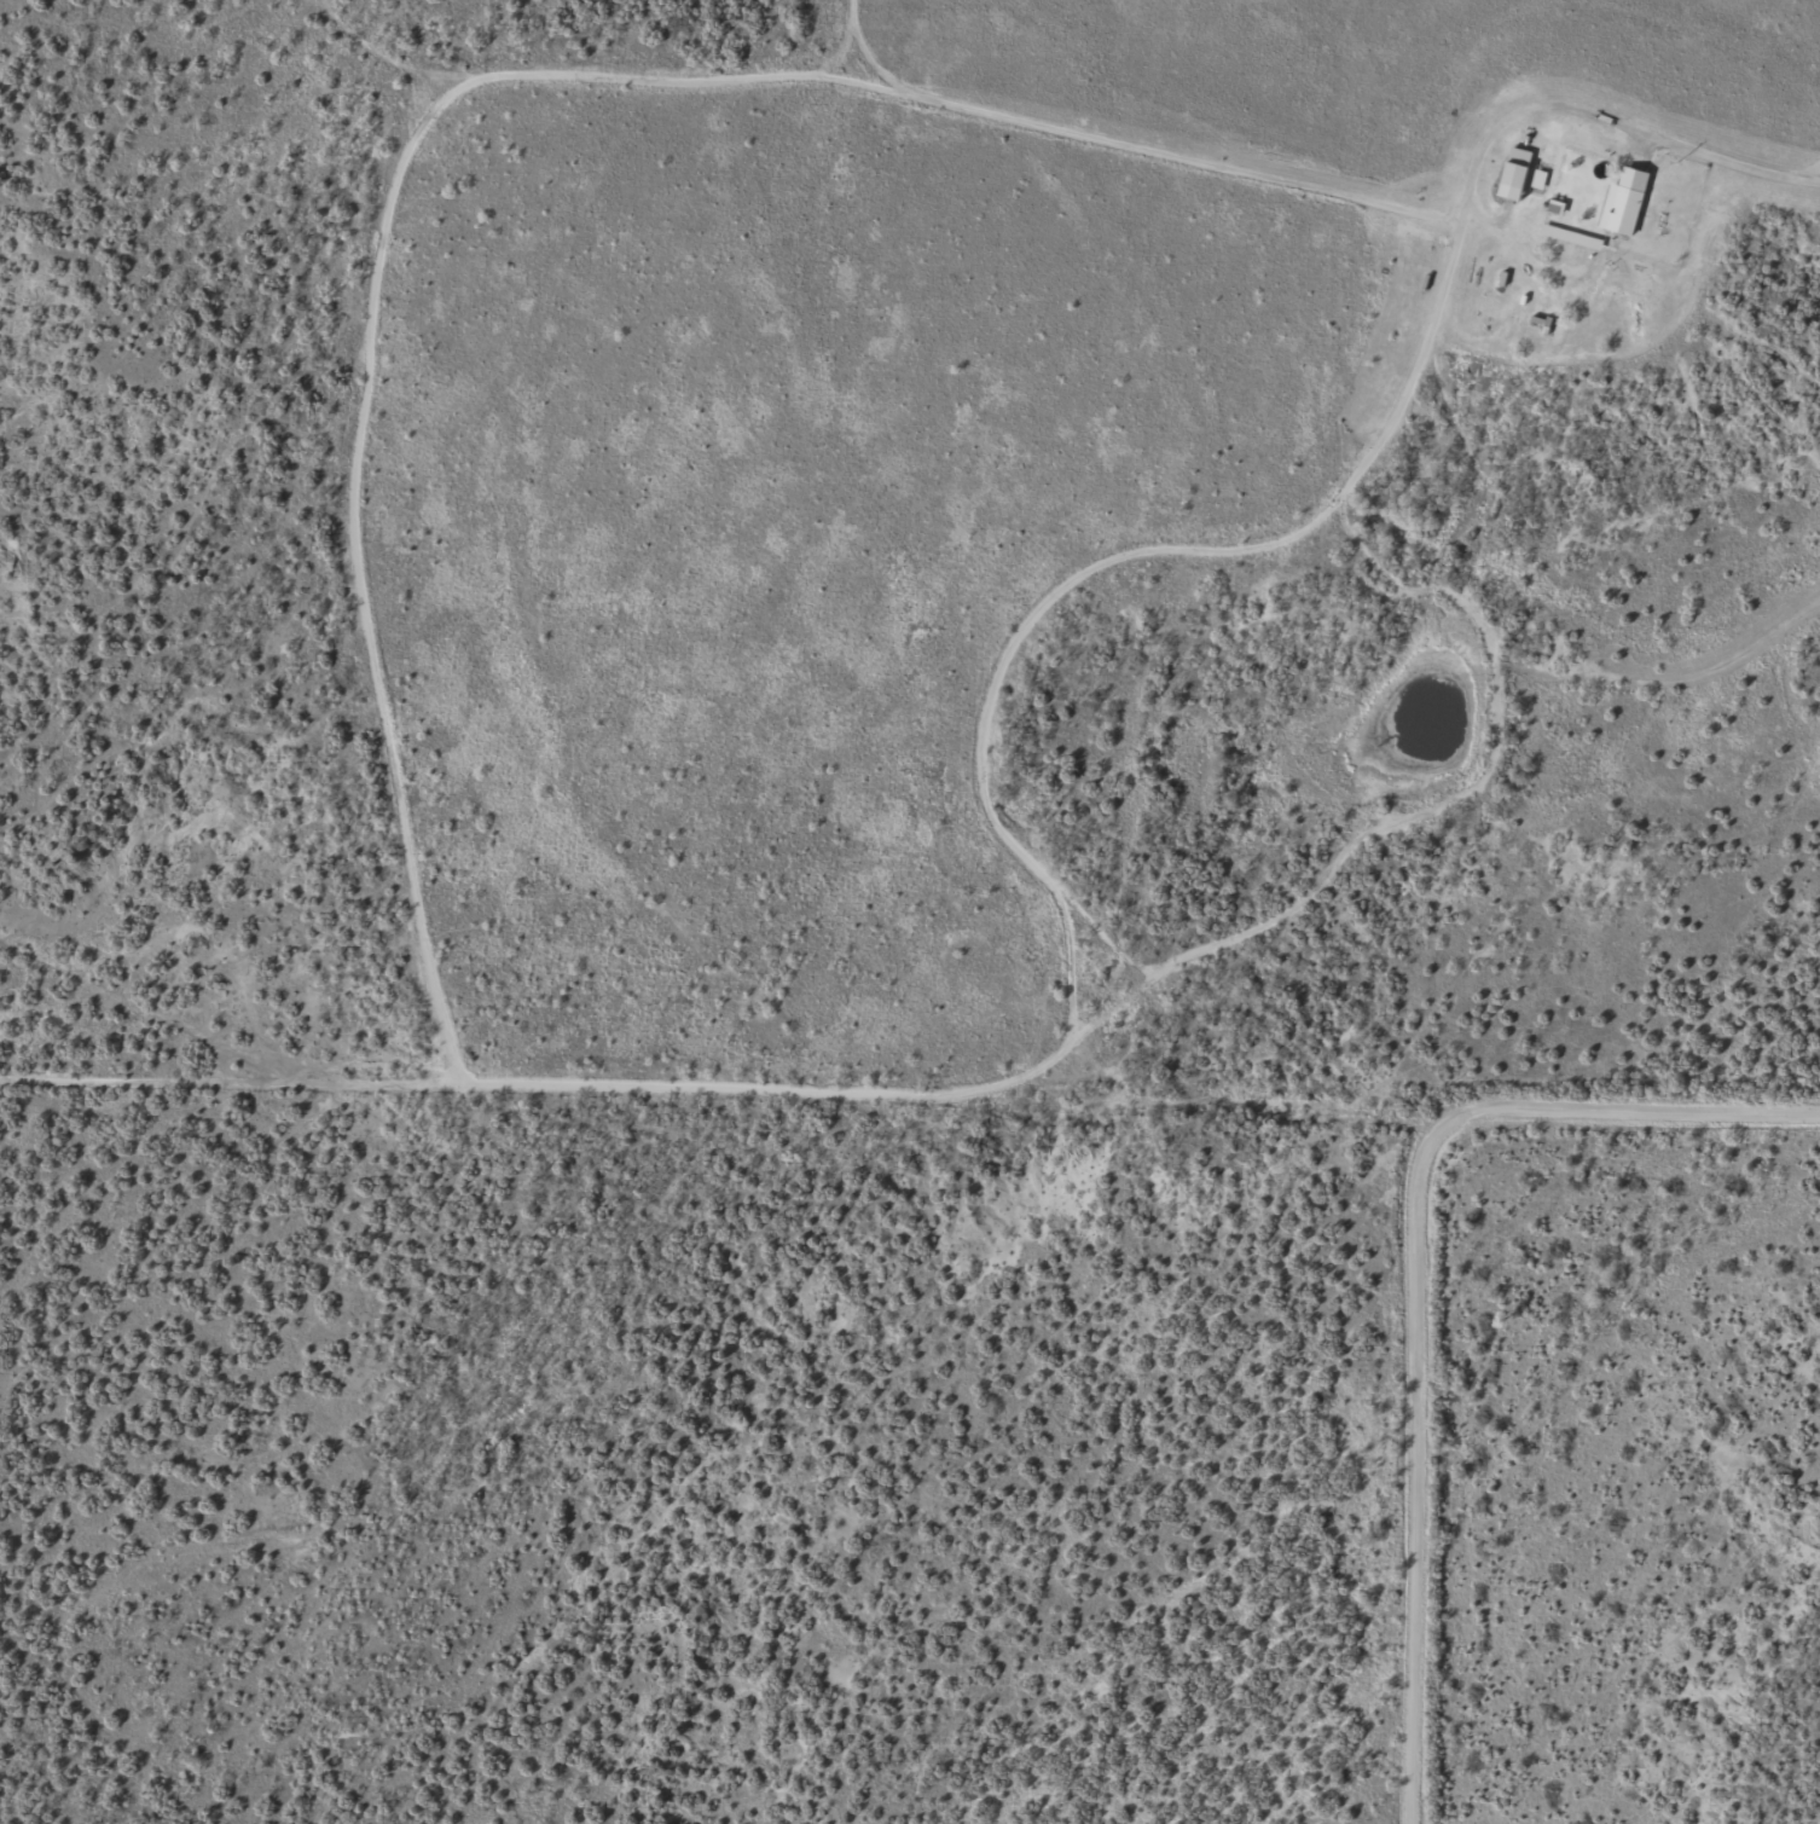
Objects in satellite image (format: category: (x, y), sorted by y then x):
building: (1523, 175)
building: (1618, 213)
road: (728, 1281)
road: (1418, 1281)

